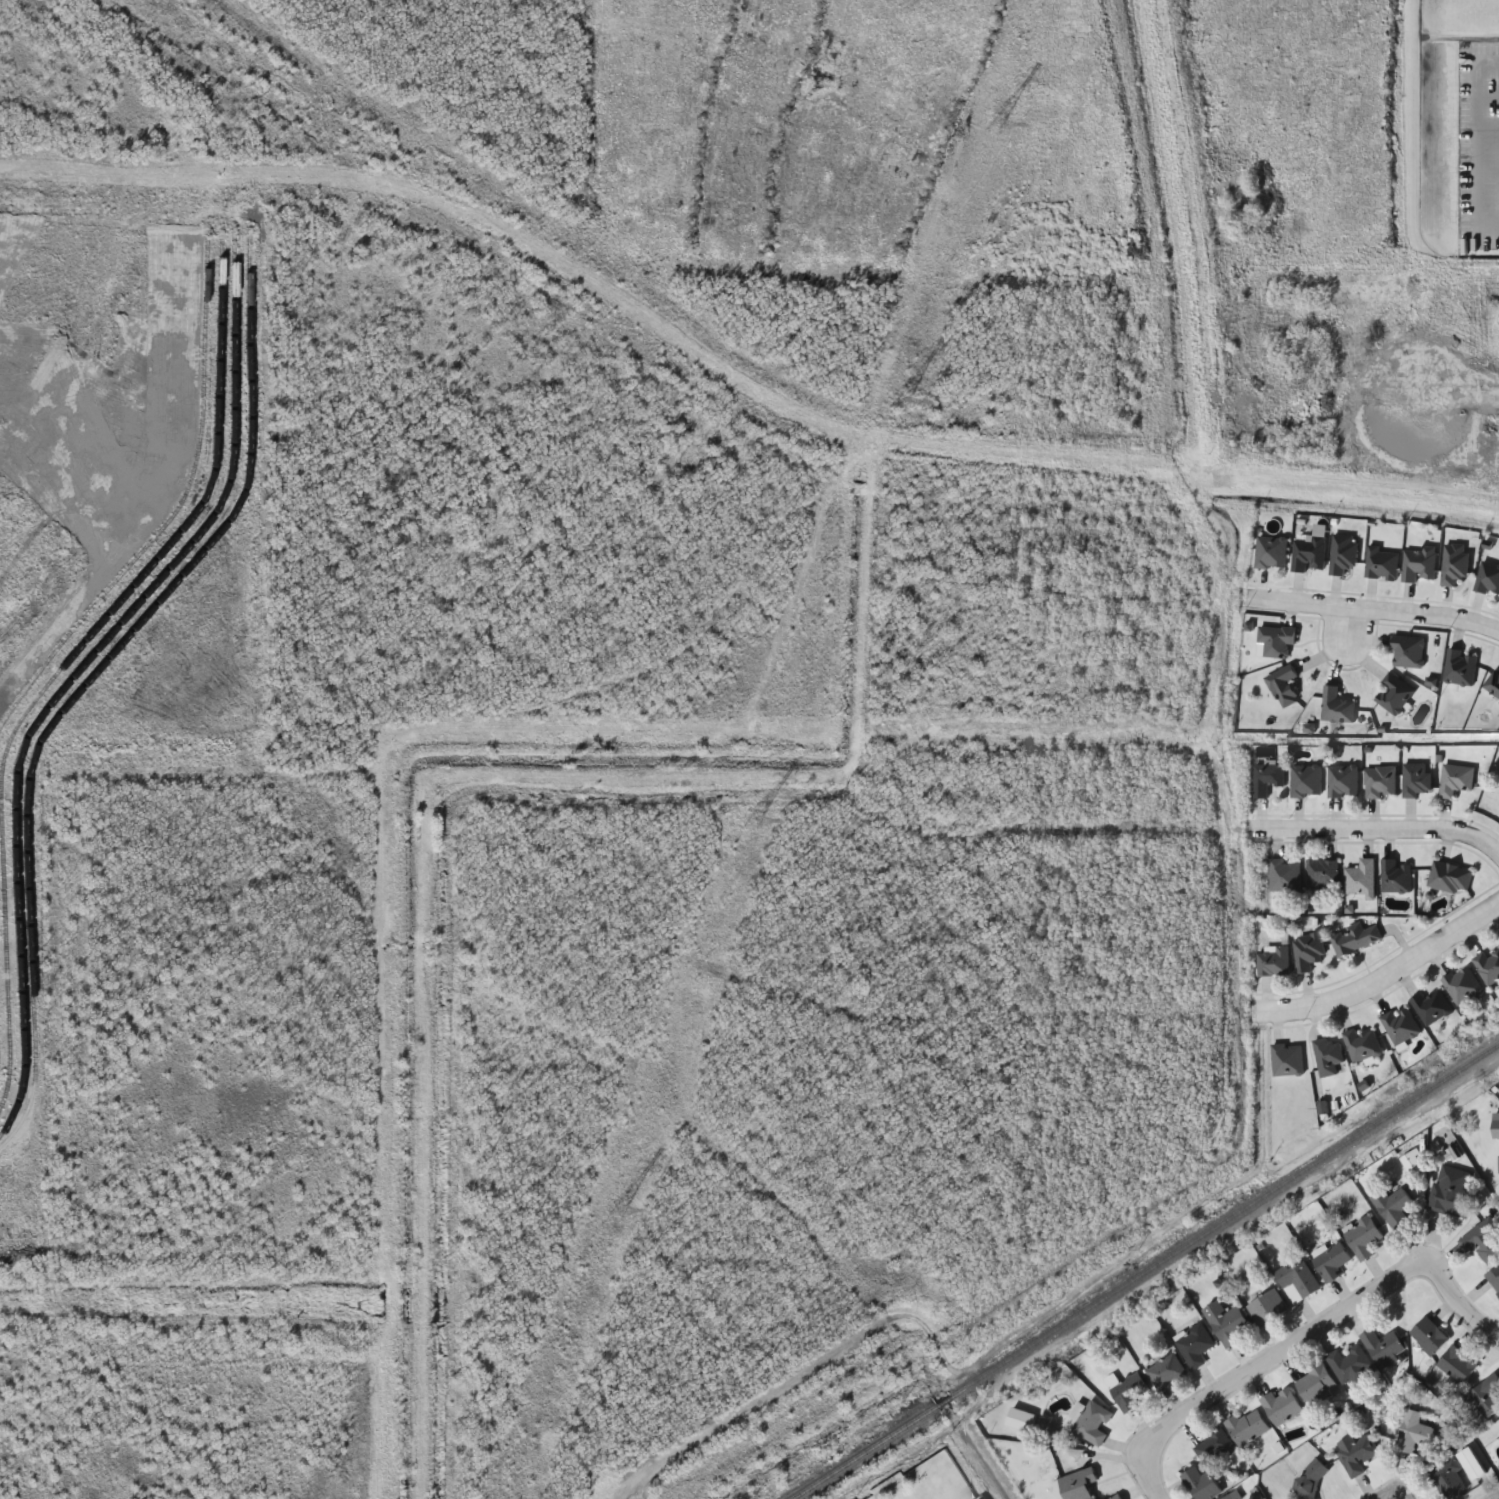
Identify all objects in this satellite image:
road: (1487, 97)
road: (1487, 126)
road: (1474, 147)
road: (1376, 403)
road: (1476, 403)
building: (1271, 545)
building: (1309, 547)
building: (1343, 547)
building: (1453, 556)
building: (1380, 557)
building: (1418, 558)
building: (1487, 572)
road: (1375, 607)
building: (1279, 632)
building: (1408, 644)
road: (1338, 653)
building: (1460, 660)
building: (1491, 677)
building: (1285, 678)
building: (1396, 687)
building: (1336, 699)
building: (1267, 771)
building: (1306, 773)
building: (1416, 773)
building: (1343, 774)
building: (1380, 774)
building: (1456, 774)
road: (1382, 819)
building: (1284, 868)
building: (1324, 868)
building: (1450, 868)
building: (1395, 869)
building: (1361, 872)
building: (1354, 932)
building: (1308, 943)
building: (1274, 955)
building: (1488, 961)
road: (1385, 975)
building: (1462, 978)
building: (1429, 1002)
building: (1400, 1019)
building: (1362, 1037)
building: (1327, 1049)
building: (1287, 1053)
building: (1496, 1125)
building: (1411, 1162)
building: (1450, 1191)
building: (1392, 1206)
building: (1363, 1238)
building: (1482, 1241)
building: (1332, 1263)
railway: (1144, 1271)
building: (1493, 1279)
building: (1298, 1282)
building: (1266, 1308)
building: (1227, 1323)
road: (1303, 1334)
building: (1429, 1337)
building: (1194, 1345)
building: (1383, 1347)
building: (1457, 1365)
building: (1350, 1366)
building: (1166, 1372)
building: (1313, 1383)
building: (1129, 1392)
building: (1484, 1398)
building: (1281, 1405)
building: (1091, 1423)
building: (1247, 1428)
building: (1413, 1432)
building: (1213, 1446)
building: (1356, 1453)
building: (1471, 1464)
building: (1310, 1480)
building: (1448, 1480)
road: (1389, 1482)
building: (1078, 1484)
building: (1201, 1484)
building: (1117, 1497)
building: (1229, 1497)
road: (1498, 1498)

